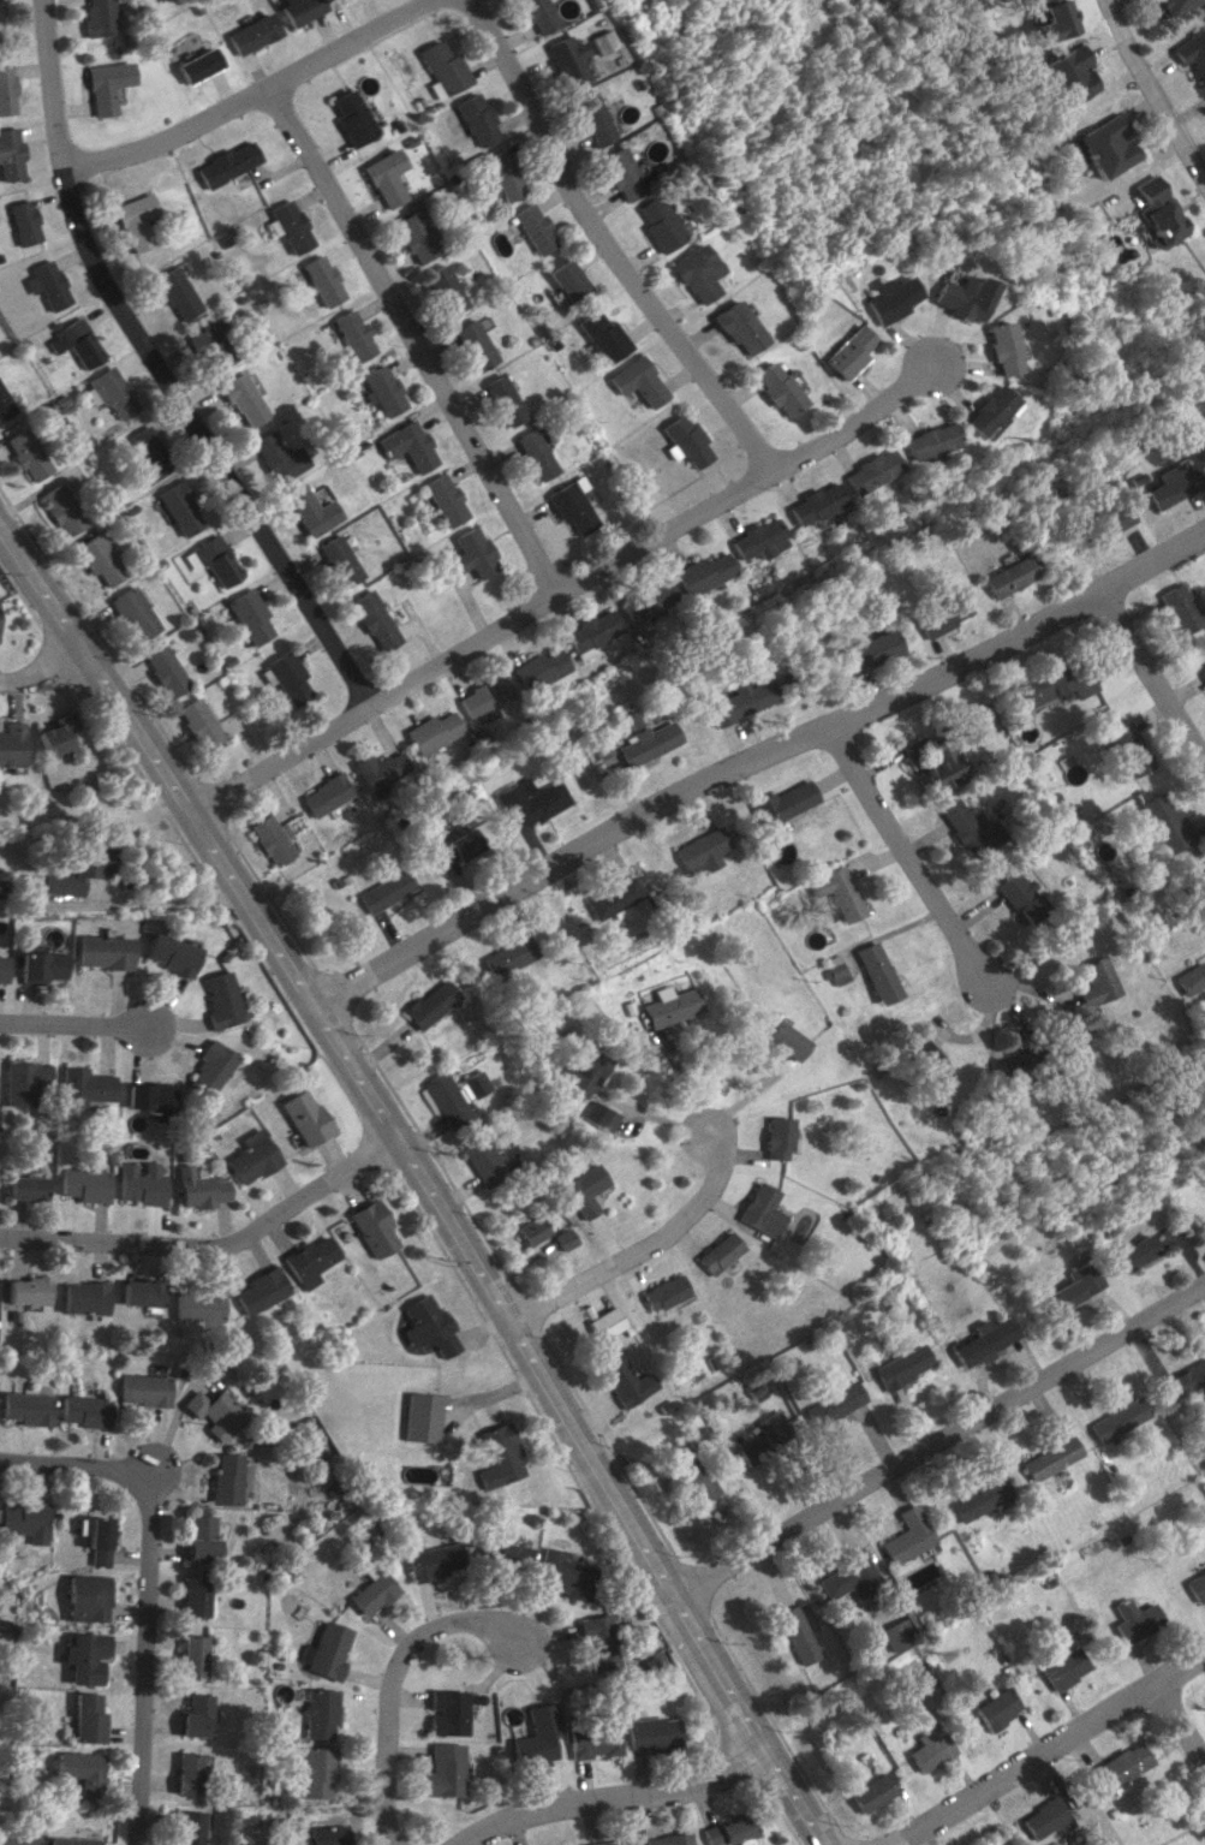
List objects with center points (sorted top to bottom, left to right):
building: (1164, 5)
building: (300, 10)
building: (530, 16)
building: (100, 17)
building: (1037, 18)
building: (252, 32)
building: (592, 41)
building: (1187, 53)
building: (559, 60)
building: (196, 65)
building: (439, 69)
building: (1056, 73)
building: (106, 85)
building: (5, 90)
road: (247, 97)
road: (1143, 99)
building: (346, 118)
building: (471, 119)
building: (587, 120)
building: (1098, 145)
building: (10, 155)
building: (225, 163)
building: (626, 173)
building: (500, 174)
building: (378, 178)
building: (1140, 184)
building: (1156, 215)
building: (135, 220)
building: (23, 221)
building: (662, 224)
building: (285, 226)
building: (537, 227)
building: (412, 236)
road: (607, 240)
building: (697, 272)
building: (571, 280)
building: (320, 281)
building: (46, 284)
building: (442, 288)
building: (174, 293)
building: (959, 297)
building: (888, 298)
building: (736, 327)
building: (351, 334)
building: (607, 337)
building: (73, 343)
road: (411, 343)
building: (473, 344)
building: (208, 346)
building: (995, 347)
building: (846, 352)
road: (155, 371)
building: (639, 381)
building: (774, 388)
building: (381, 389)
building: (106, 392)
building: (241, 399)
building: (503, 399)
building: (2, 406)
building: (980, 410)
road: (848, 419)
building: (685, 441)
building: (923, 441)
building: (407, 445)
building: (25, 453)
building: (533, 453)
building: (145, 457)
building: (276, 457)
building: (863, 470)
building: (1161, 484)
building: (445, 499)
building: (811, 502)
building: (572, 505)
building: (178, 508)
building: (59, 510)
building: (310, 510)
building: (1100, 523)
building: (757, 540)
building: (473, 553)
building: (96, 559)
building: (210, 560)
building: (338, 560)
building: (704, 572)
building: (1008, 575)
building: (649, 599)
building: (1171, 608)
building: (131, 612)
building: (939, 615)
building: (246, 617)
building: (374, 620)
building: (593, 633)
road: (478, 641)
building: (869, 650)
building: (542, 668)
building: (163, 669)
road: (41, 672)
building: (1200, 674)
building: (282, 677)
road: (1149, 682)
building: (1051, 684)
building: (487, 696)
road: (11, 700)
building: (741, 701)
building: (630, 720)
building: (195, 724)
building: (434, 731)
building: (50, 733)
building: (8, 743)
building: (646, 743)
building: (1123, 746)
building: (599, 748)
road: (756, 758)
building: (942, 768)
building: (380, 769)
building: (326, 793)
building: (527, 801)
building: (783, 802)
building: (1158, 823)
building: (968, 827)
building: (269, 839)
building: (453, 846)
building: (700, 850)
road: (902, 856)
building: (80, 870)
building: (384, 889)
building: (1197, 891)
building: (836, 892)
building: (1015, 897)
building: (613, 898)
road: (121, 901)
building: (102, 951)
building: (168, 953)
building: (506, 957)
building: (2, 966)
building: (40, 966)
building: (876, 972)
building: (1183, 978)
building: (1090, 982)
building: (217, 999)
building: (426, 1004)
building: (670, 1007)
road: (77, 1025)
building: (783, 1040)
building: (924, 1060)
building: (1004, 1065)
building: (210, 1067)
building: (583, 1067)
building: (23, 1081)
building: (475, 1083)
road: (684, 1085)
building: (87, 1087)
building: (149, 1095)
building: (443, 1100)
road: (654, 1114)
building: (601, 1115)
building: (302, 1117)
building: (1203, 1119)
building: (775, 1137)
building: (482, 1156)
building: (251, 1157)
road: (422, 1182)
building: (139, 1183)
building: (83, 1184)
building: (23, 1186)
building: (199, 1188)
building: (583, 1190)
building: (760, 1209)
building: (370, 1227)
building: (561, 1238)
road: (213, 1245)
road: (643, 1250)
building: (1133, 1251)
building: (721, 1252)
building: (309, 1261)
building: (1069, 1287)
building: (22, 1290)
building: (260, 1290)
building: (137, 1292)
building: (666, 1295)
building: (79, 1297)
building: (196, 1303)
building: (606, 1322)
building: (426, 1326)
building: (982, 1341)
building: (901, 1365)
building: (1181, 1377)
building: (625, 1379)
building: (141, 1389)
building: (835, 1404)
building: (24, 1407)
building: (80, 1410)
building: (213, 1412)
building: (423, 1417)
building: (1112, 1418)
building: (768, 1436)
road: (939, 1444)
building: (500, 1452)
building: (1048, 1458)
road: (144, 1472)
building: (226, 1478)
building: (980, 1494)
building: (24, 1520)
building: (907, 1535)
building: (201, 1539)
building: (96, 1541)
building: (508, 1557)
building: (434, 1560)
building: (560, 1575)
building: (848, 1575)
building: (1194, 1585)
building: (374, 1590)
road: (145, 1593)
building: (195, 1595)
building: (84, 1597)
building: (1133, 1619)
building: (794, 1635)
building: (893, 1635)
building: (595, 1642)
building: (328, 1650)
building: (192, 1655)
building: (82, 1656)
building: (1064, 1668)
road: (394, 1684)
building: (996, 1708)
building: (446, 1712)
building: (320, 1713)
building: (196, 1715)
building: (84, 1718)
road: (1180, 1727)
building: (651, 1733)
building: (533, 1734)
building: (592, 1739)
building: (926, 1748)
road: (1049, 1749)
building: (1115, 1768)
building: (316, 1769)
building: (443, 1769)
building: (78, 1770)
building: (189, 1773)
building: (869, 1791)
road: (615, 1799)
building: (1043, 1819)
building: (191, 1827)
building: (727, 1832)
building: (326, 1835)
building: (17, 1839)
building: (666, 1839)
building: (71, 1840)
building: (619, 1843)
building: (589, 1844)

